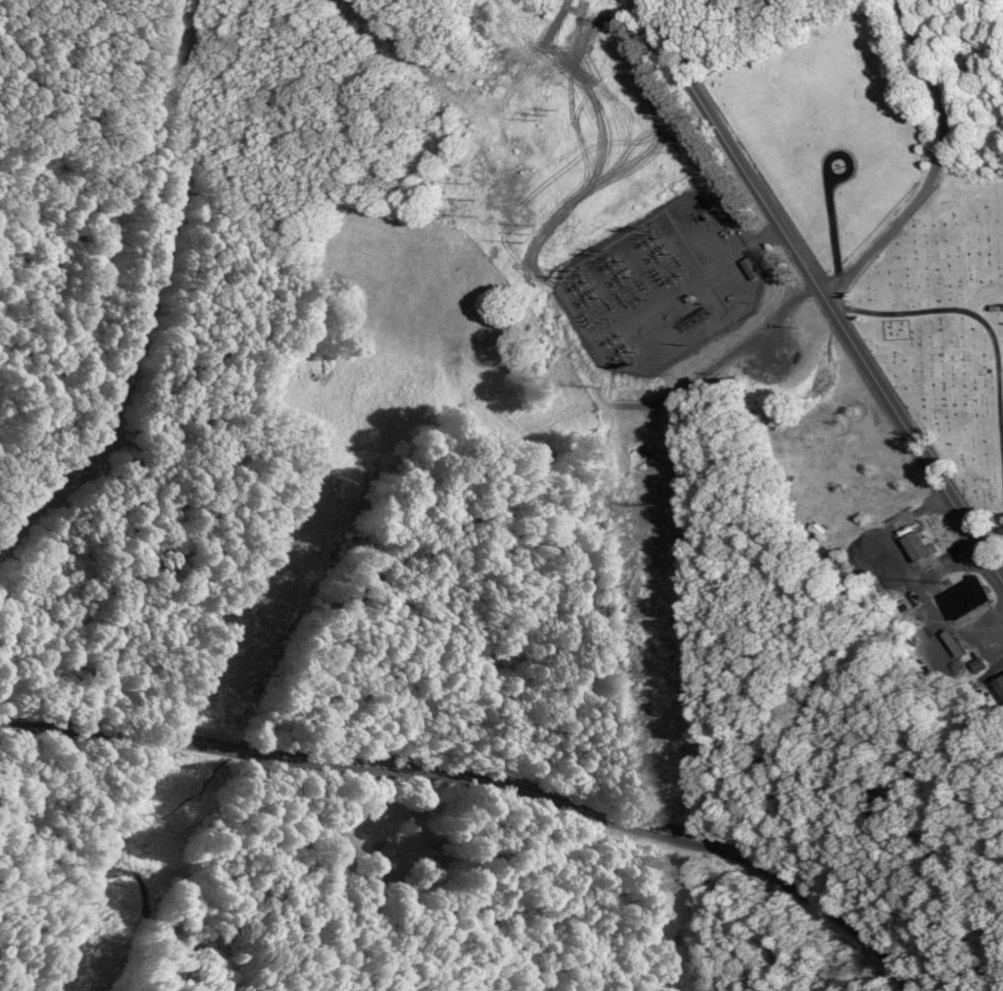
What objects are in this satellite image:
power tower: (551, 110)
road: (935, 164)
power tower: (478, 194)
park: (890, 231)
power tower: (538, 237)
power substation: (663, 283)
road: (819, 290)
power tower: (331, 476)
building: (922, 544)
building: (969, 595)
road: (492, 779)

